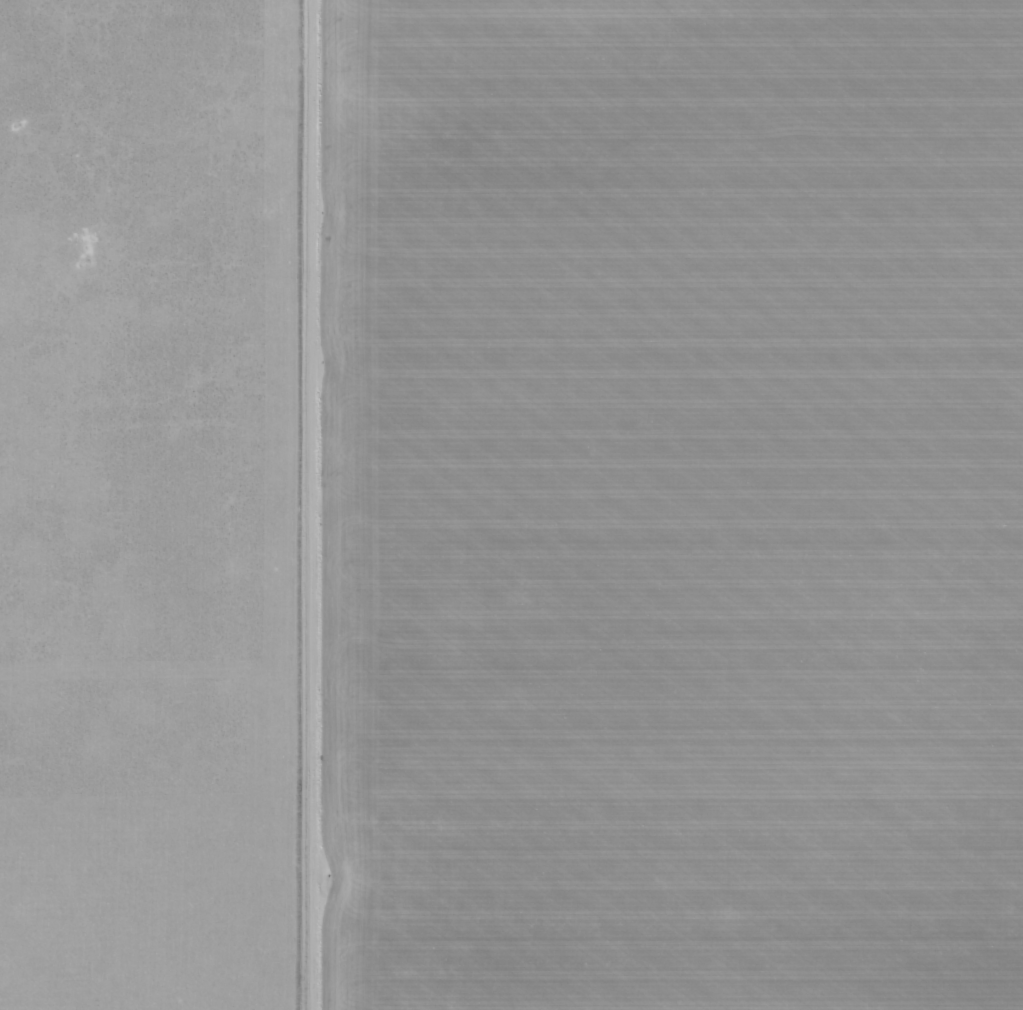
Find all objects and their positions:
road: (315, 504)

